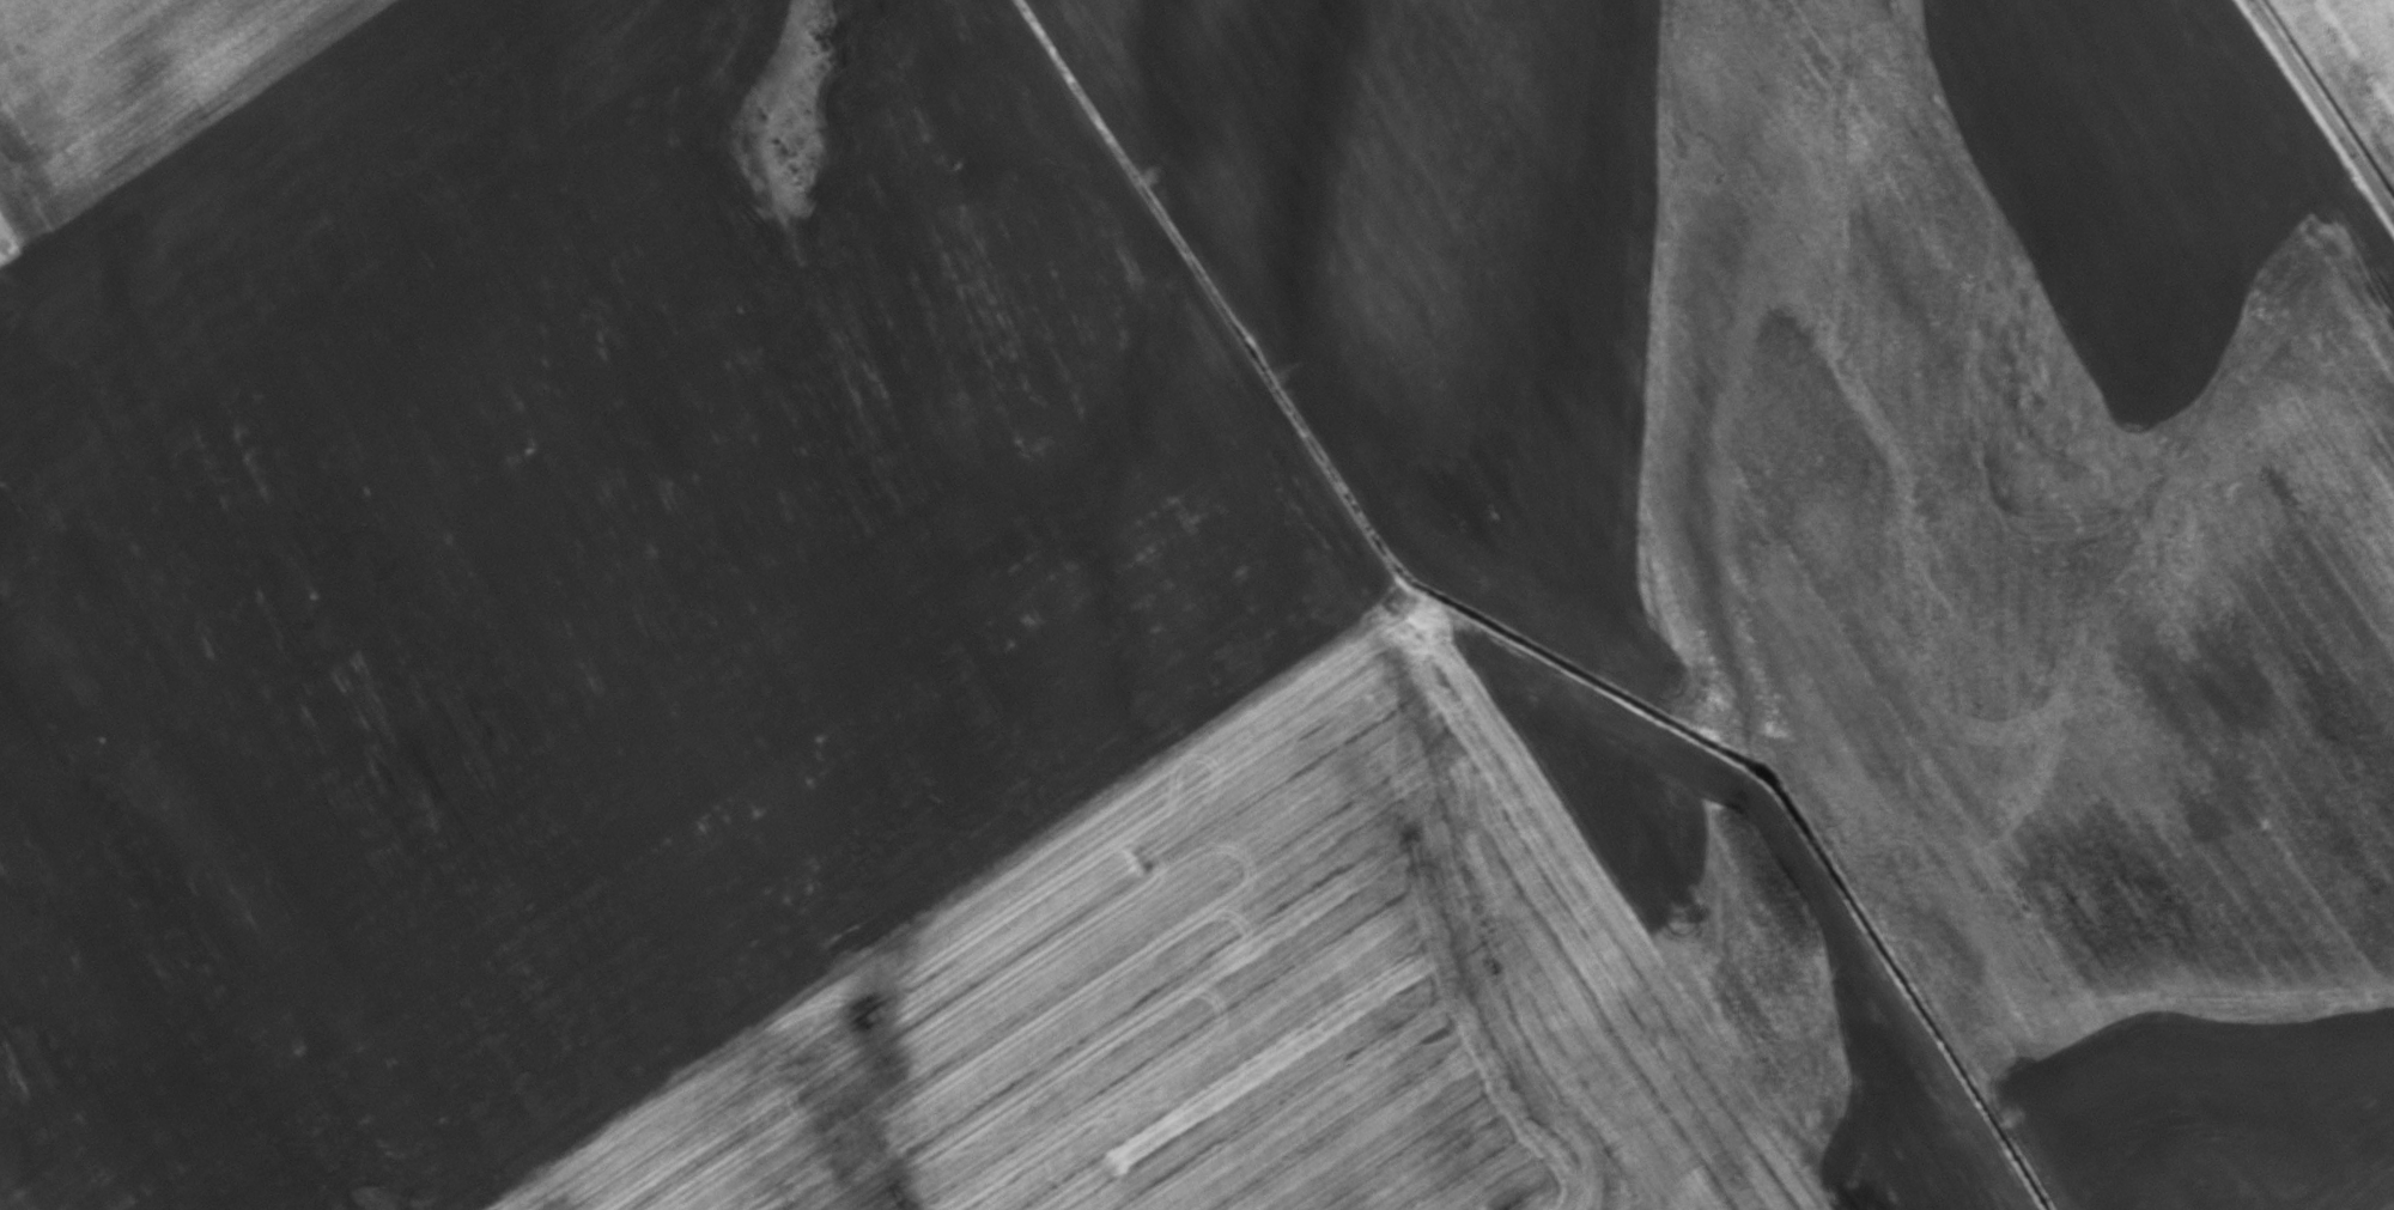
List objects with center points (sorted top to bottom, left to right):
crop: (2351, 63)
road: (2323, 104)
crop: (1189, 608)

